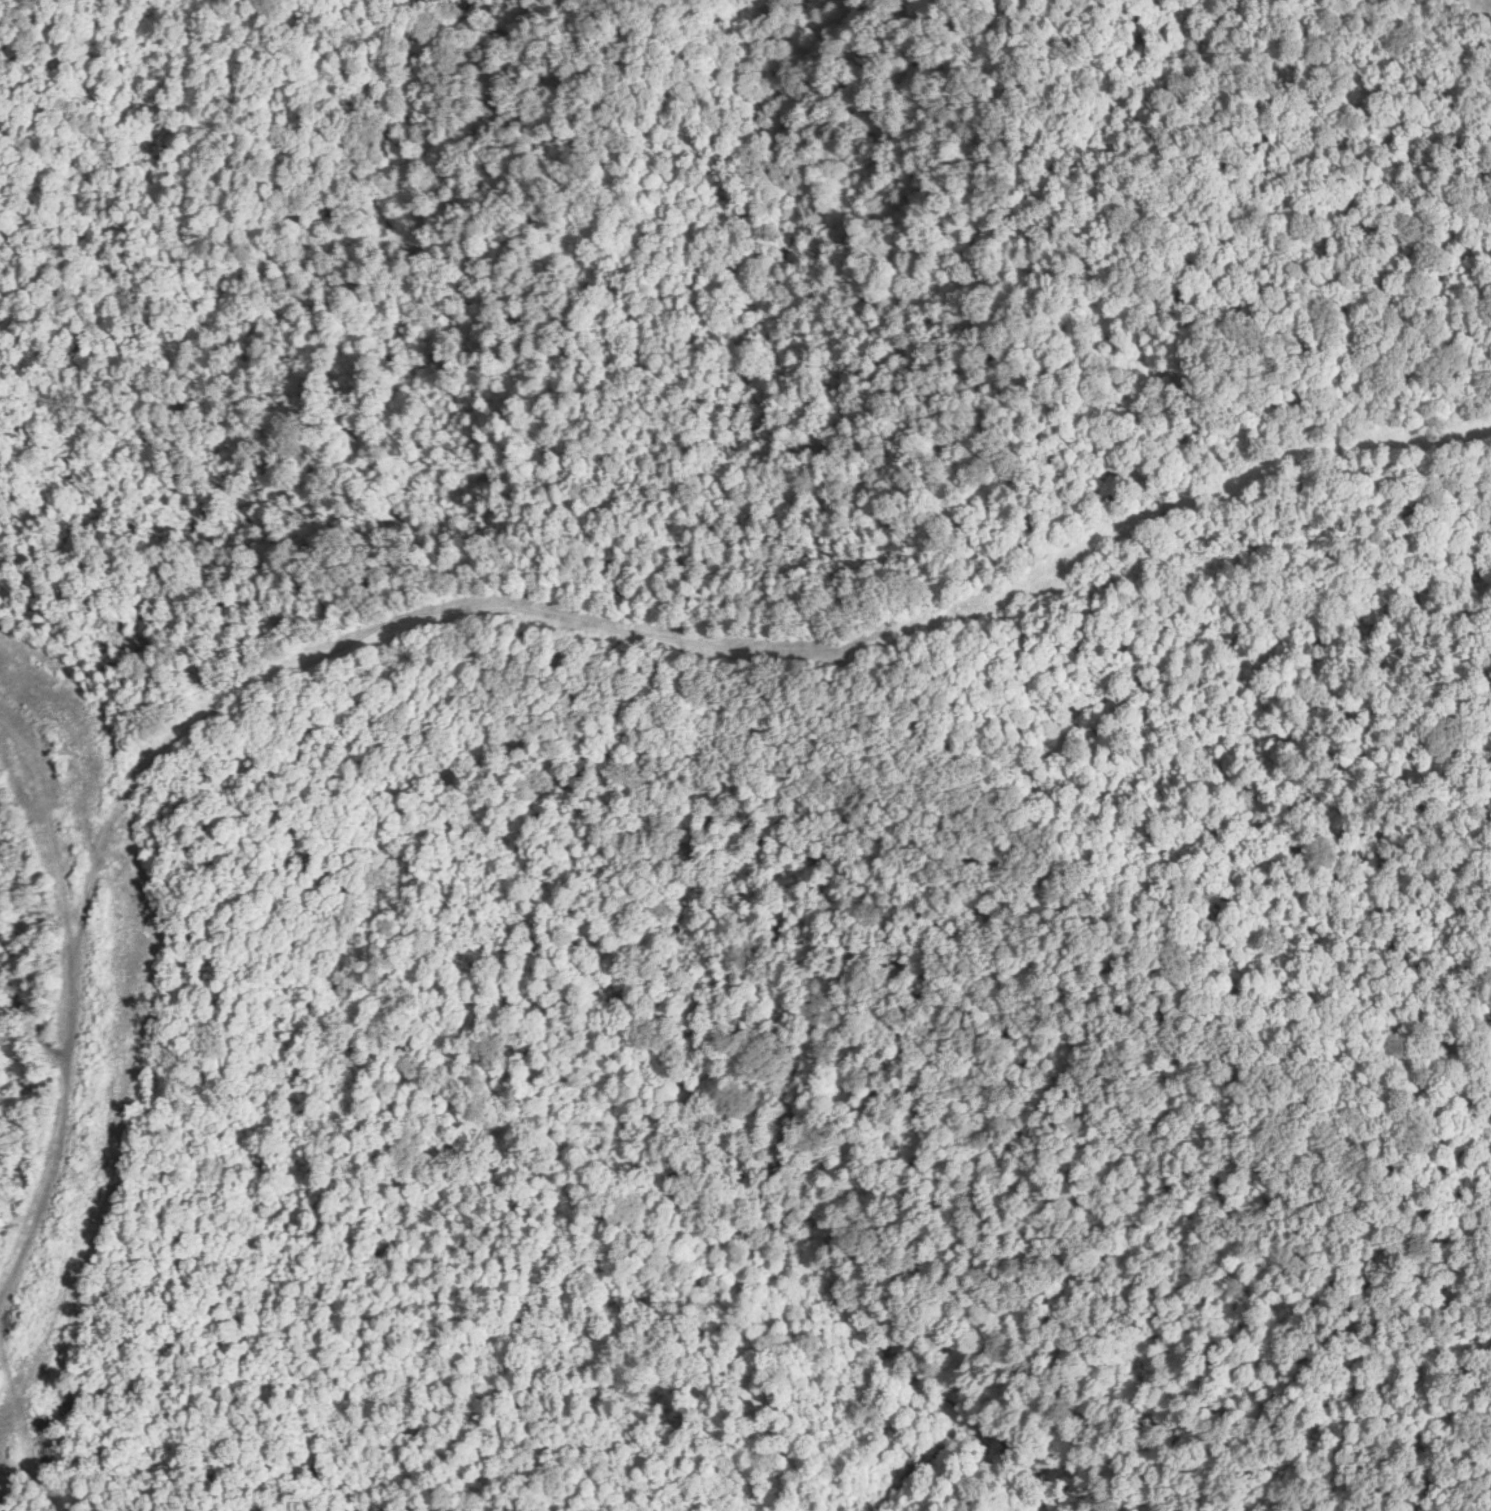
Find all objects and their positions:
road: (371, 655)
road: (2, 1184)

